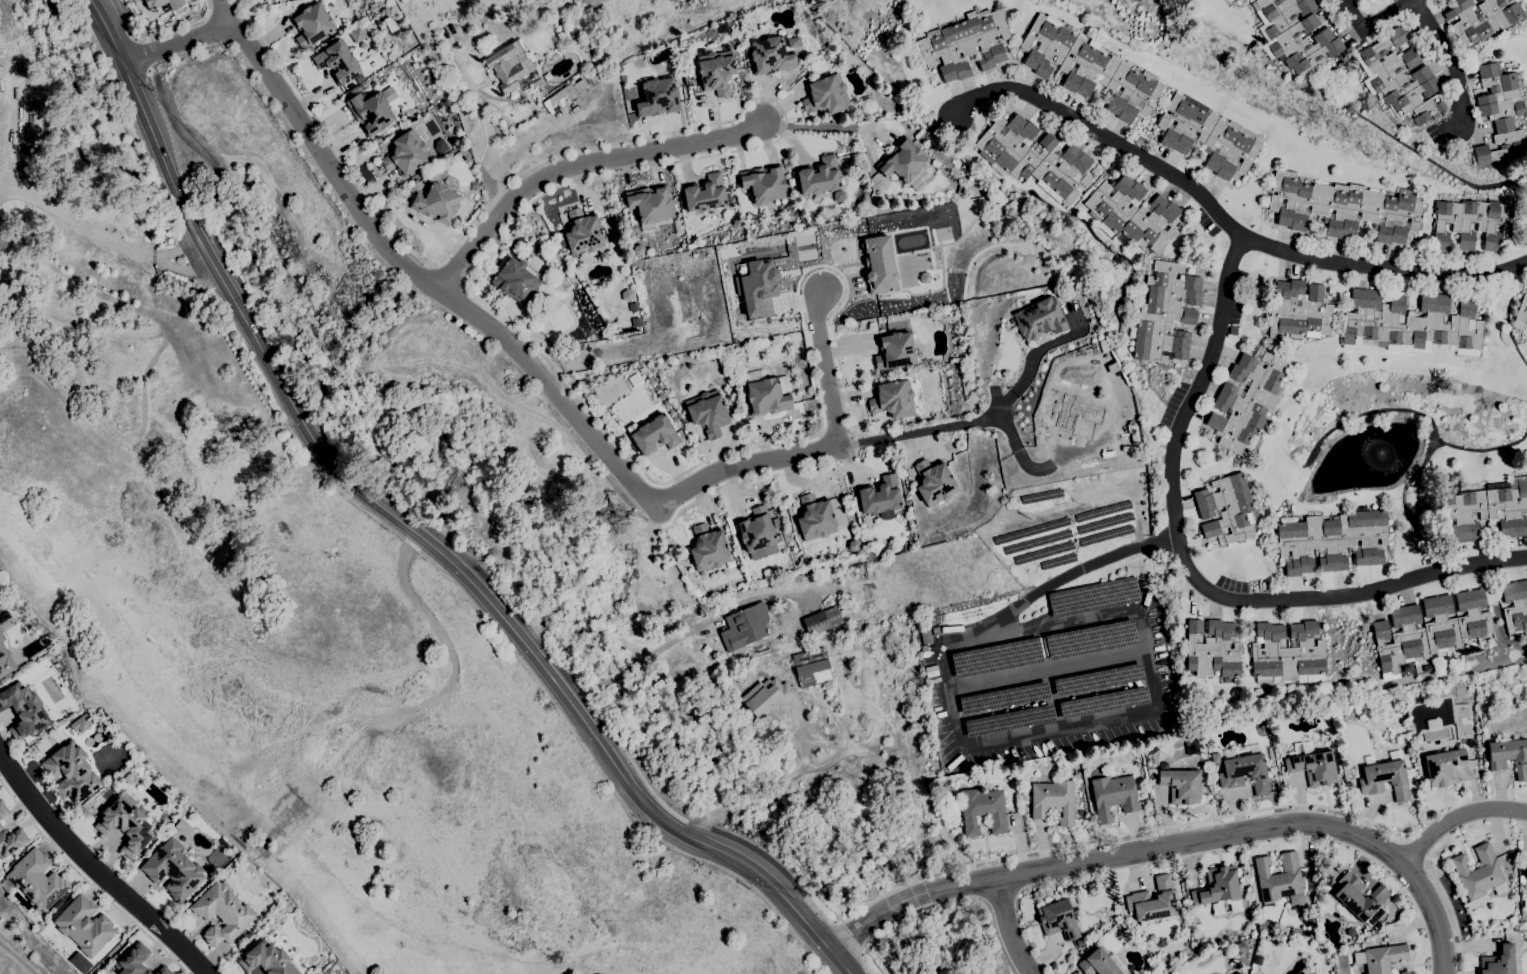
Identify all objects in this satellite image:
building: (591, 3)
building: (163, 4)
road: (227, 14)
building: (1483, 18)
building: (749, 19)
building: (311, 24)
road: (1369, 24)
road: (178, 27)
building: (1294, 34)
building: (357, 35)
road: (134, 39)
building: (794, 42)
road: (177, 44)
building: (965, 44)
road: (140, 55)
building: (770, 56)
road: (1446, 62)
building: (338, 63)
building: (638, 63)
building: (510, 66)
building: (1089, 69)
road: (149, 71)
building: (716, 71)
building: (1399, 77)
building: (538, 83)
road: (134, 91)
building: (826, 95)
building: (564, 96)
building: (657, 98)
building: (371, 112)
building: (1500, 113)
road: (818, 124)
road: (176, 129)
road: (489, 131)
building: (1208, 136)
road: (329, 139)
building: (440, 146)
building: (406, 154)
building: (1035, 158)
building: (906, 164)
road: (578, 168)
road: (593, 175)
building: (819, 176)
building: (764, 183)
building: (961, 190)
building: (705, 194)
building: (436, 203)
building: (650, 206)
building: (1344, 208)
building: (1131, 214)
road: (1224, 219)
road: (190, 220)
building: (1472, 222)
building: (677, 227)
road: (102, 231)
building: (583, 232)
building: (4, 239)
building: (560, 240)
building: (638, 250)
building: (519, 264)
building: (877, 264)
road: (819, 266)
road: (217, 272)
road: (451, 274)
road: (426, 283)
building: (756, 288)
building: (627, 295)
building: (520, 308)
building: (1298, 311)
building: (1165, 313)
building: (1522, 314)
building: (1038, 319)
building: (1411, 324)
road: (1039, 349)
building: (894, 350)
road: (814, 387)
building: (767, 393)
building: (893, 399)
building: (1247, 401)
building: (708, 413)
building: (1075, 413)
road: (931, 430)
building: (655, 435)
road: (824, 450)
road: (809, 467)
road: (1036, 469)
building: (934, 482)
building: (880, 497)
building: (1226, 509)
building: (1487, 510)
building: (815, 517)
building: (757, 532)
building: (779, 538)
building: (1333, 540)
building: (853, 545)
building: (708, 548)
building: (769, 573)
road: (1190, 575)
building: (1515, 606)
building: (3, 615)
building: (821, 621)
building: (745, 627)
building: (848, 627)
building: (1429, 629)
building: (925, 635)
road: (670, 642)
road: (525, 645)
building: (922, 647)
building: (1212, 649)
building: (925, 654)
building: (1287, 654)
building: (5, 659)
building: (811, 667)
road: (1047, 671)
building: (768, 699)
building: (24, 711)
building: (81, 723)
building: (1433, 724)
road: (1007, 740)
building: (1190, 746)
building: (1083, 753)
building: (1510, 755)
building: (1215, 758)
building: (1198, 764)
building: (1312, 764)
building: (1444, 767)
road: (635, 770)
building: (1245, 770)
building: (71, 772)
building: (1386, 775)
building: (130, 778)
road: (782, 778)
building: (1180, 785)
building: (1348, 785)
building: (1113, 796)
building: (1053, 800)
building: (3, 809)
building: (983, 811)
road: (1458, 816)
building: (126, 824)
road: (698, 824)
building: (11, 841)
road: (1094, 841)
road: (1174, 845)
road: (1411, 851)
road: (762, 855)
building: (173, 869)
road: (96, 871)
building: (1526, 871)
building: (1477, 872)
building: (1521, 879)
building: (36, 880)
building: (1280, 880)
building: (1328, 880)
road: (87, 881)
building: (1219, 889)
building: (1360, 899)
building: (1153, 900)
building: (1321, 908)
building: (222, 913)
building: (1473, 915)
road: (1446, 916)
building: (1060, 918)
building: (1263, 925)
building: (85, 926)
road: (1009, 927)
building: (1510, 929)
building: (1350, 932)
road: (849, 936)
building: (1126, 937)
building: (1384, 939)
building: (1081, 942)
building: (1160, 942)
road: (115, 950)
road: (18, 957)
building: (1383, 958)
building: (134, 960)
building: (267, 960)
building: (1498, 961)
road: (863, 963)
building: (1101, 963)
building: (163, 971)
building: (1404, 972)

